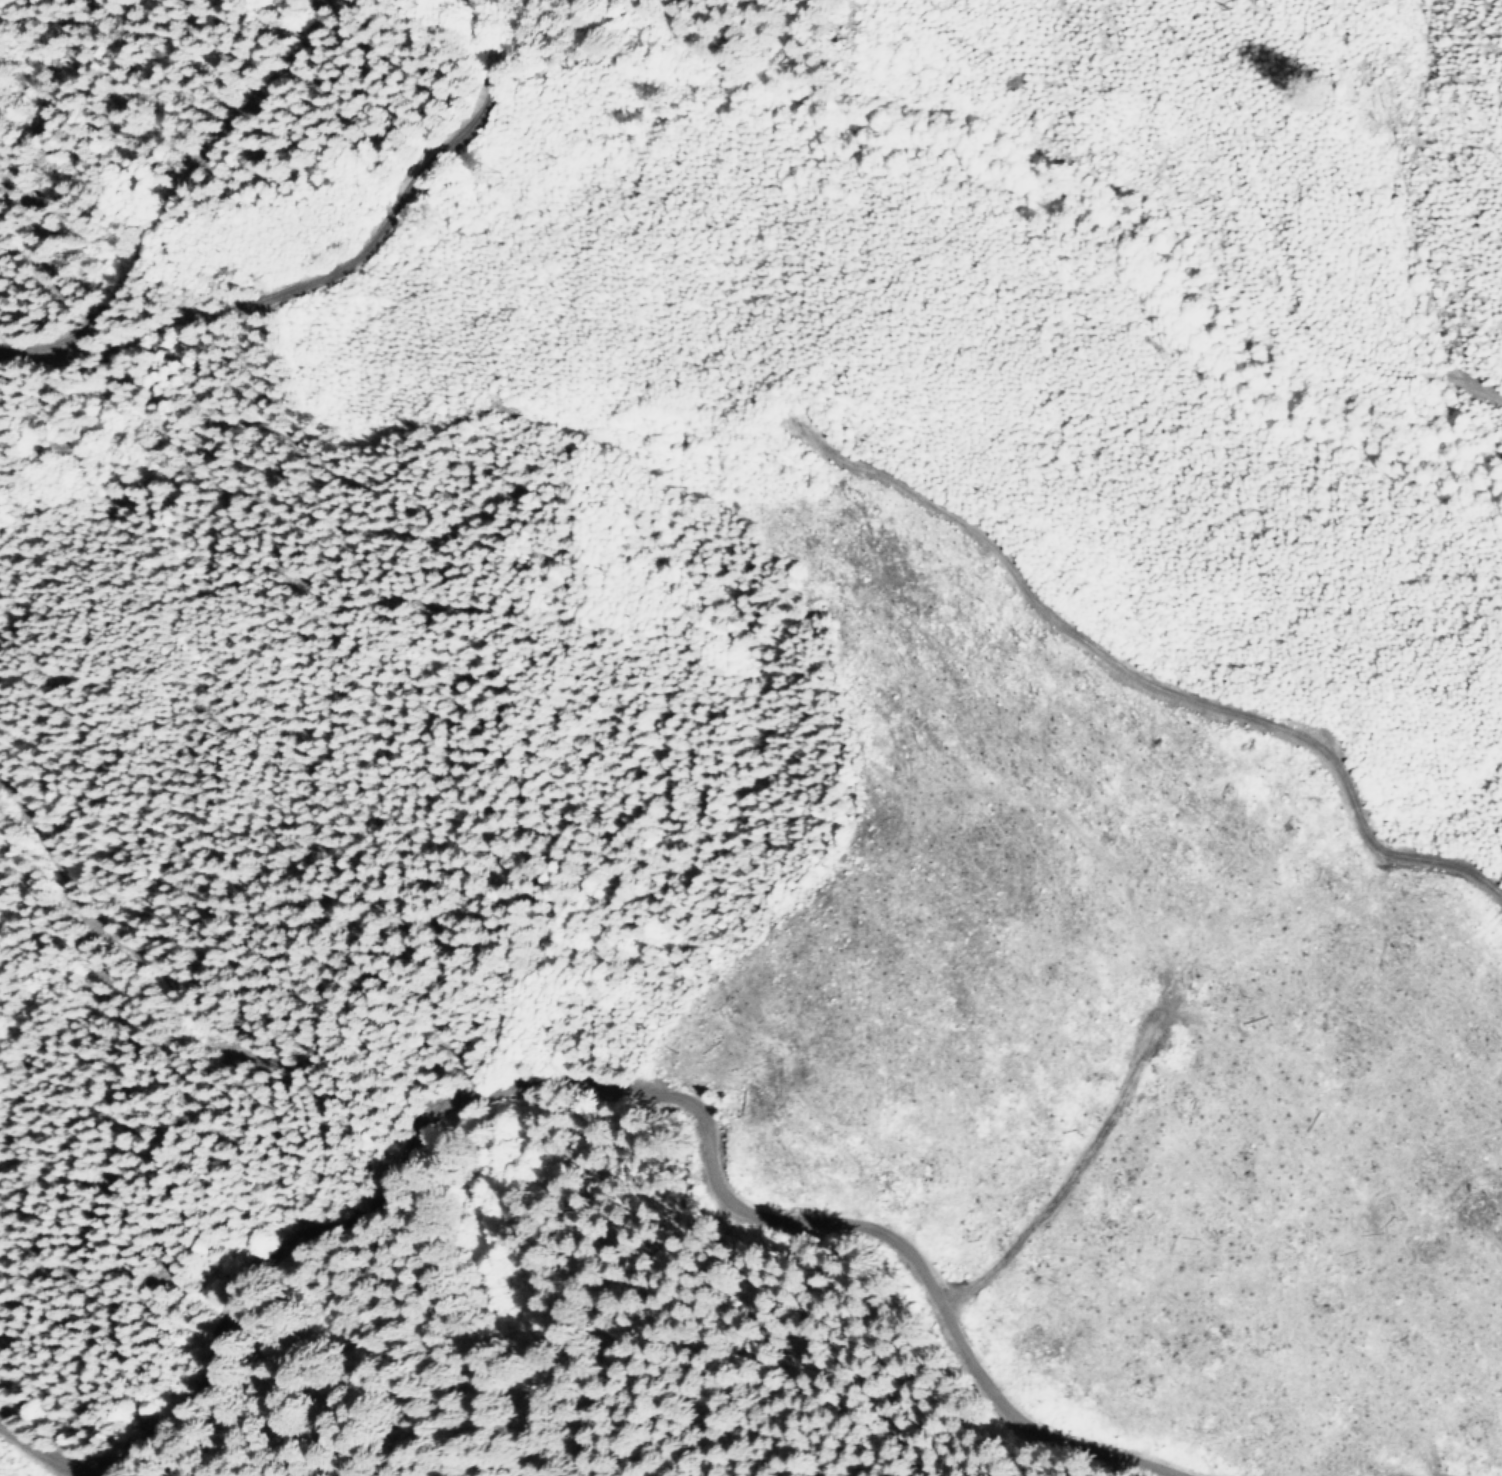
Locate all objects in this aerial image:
road: (162, 202)
road: (358, 257)
road: (1149, 689)
road: (610, 1086)
crop: (591, 1328)
road: (1445, 1473)
crop: (1443, 1475)

